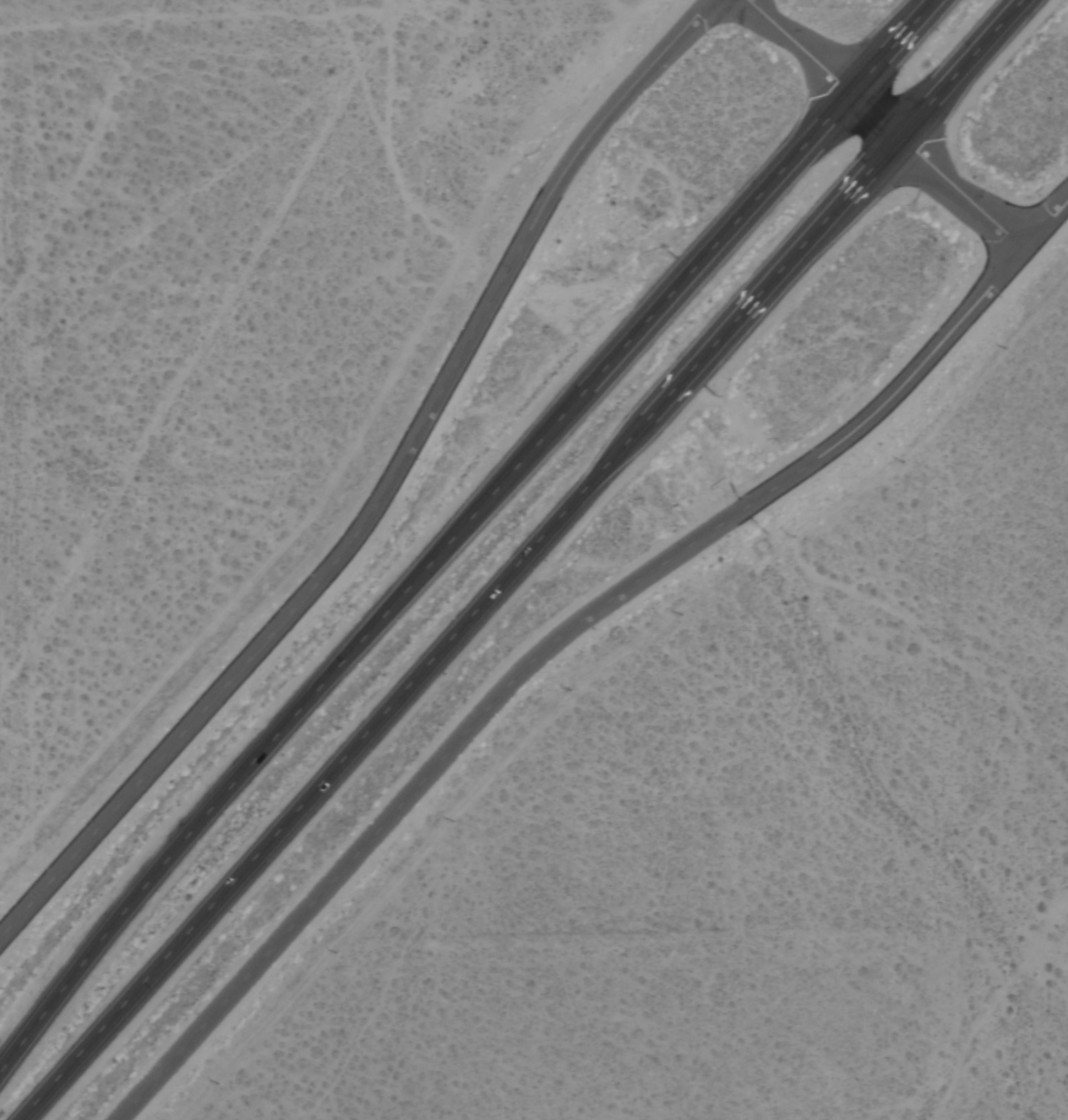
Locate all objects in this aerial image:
road: (1065, 14)
road: (248, 18)
road: (633, 88)
road: (886, 126)
road: (557, 189)
road: (908, 384)
road: (459, 528)
road: (708, 535)
road: (527, 559)
road: (308, 591)
road: (393, 813)

